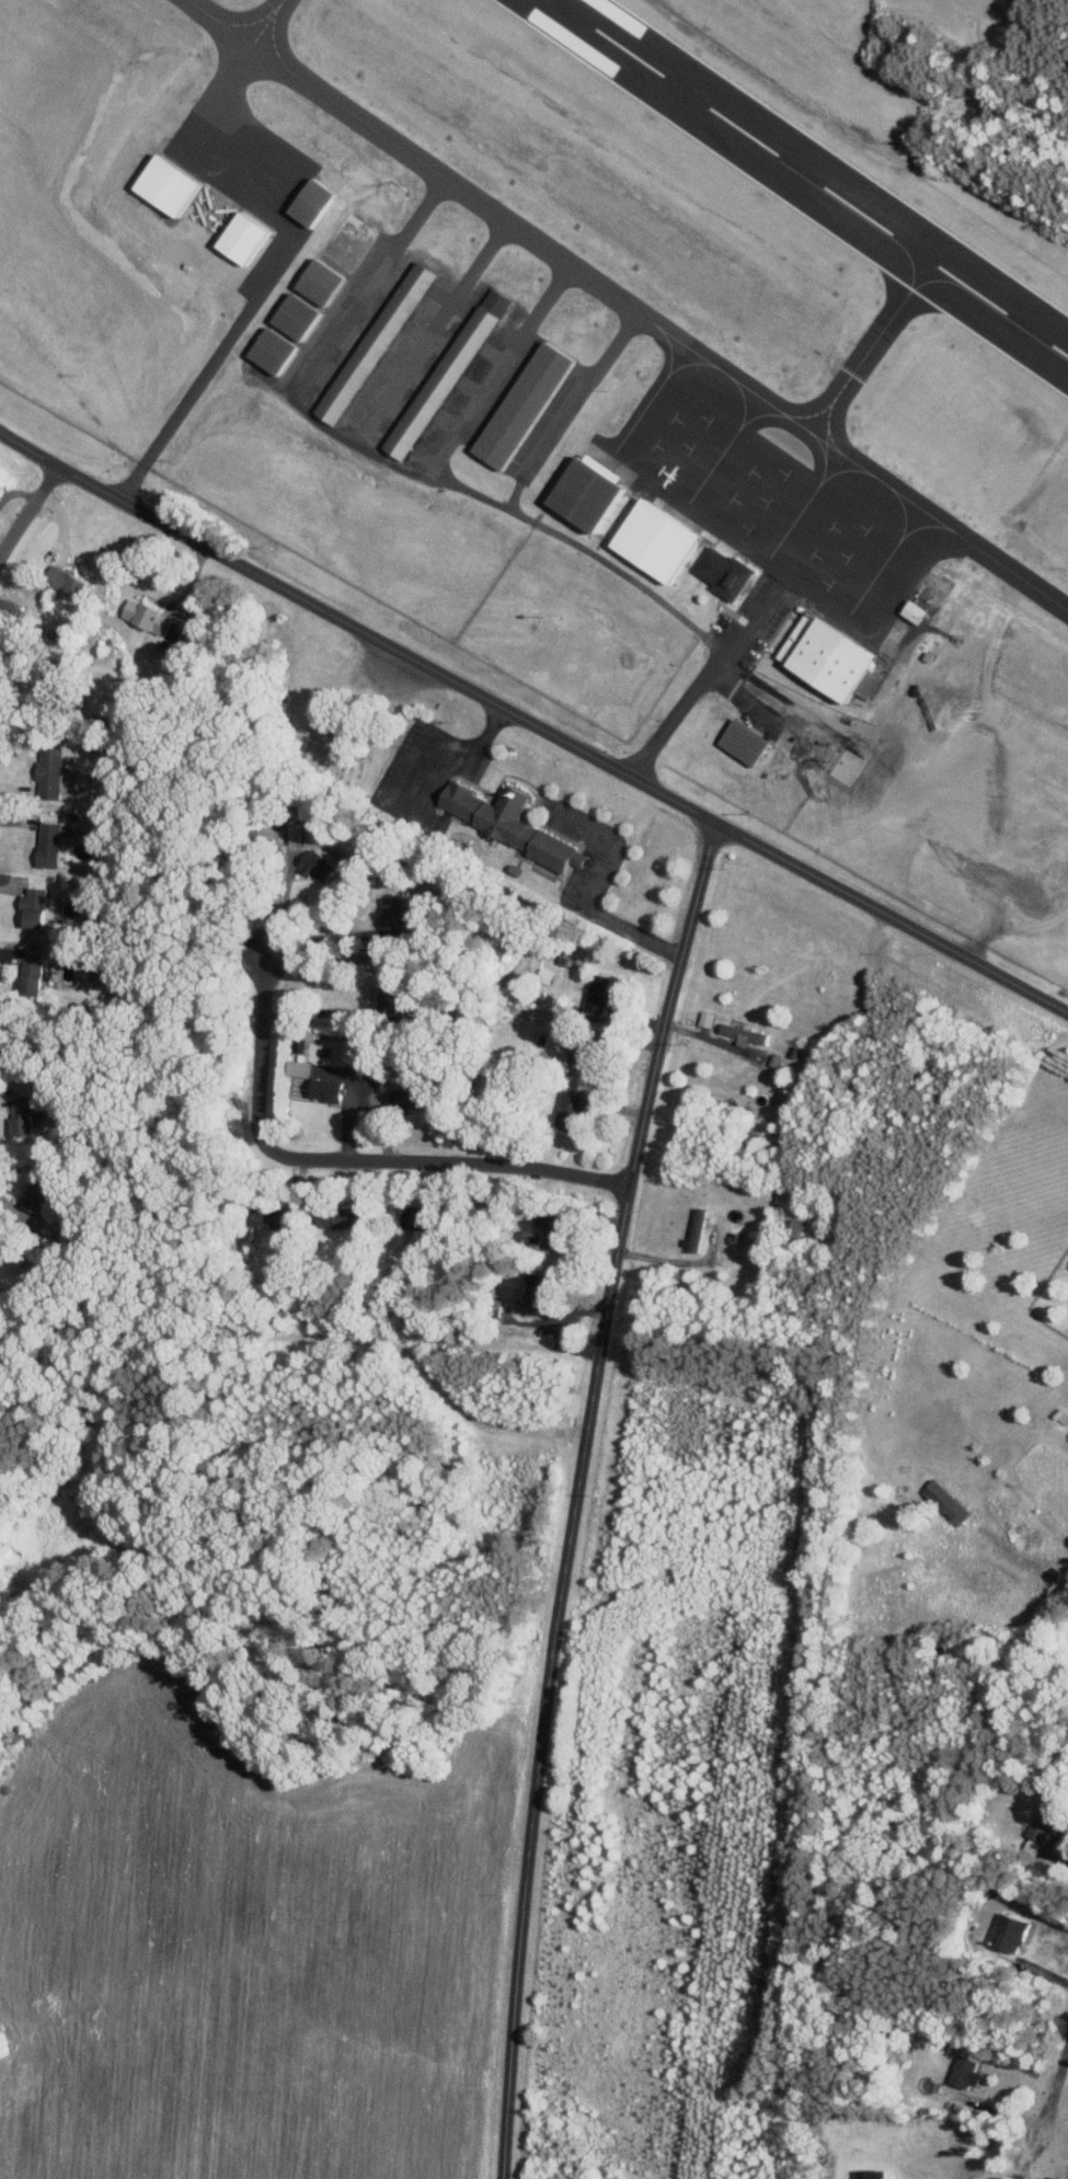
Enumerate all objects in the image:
airport taxiway: (241, 57)
airport taxiway: (287, 68)
airport taxiway: (433, 169)
airport runway: (812, 176)
building: (168, 182)
building: (311, 200)
building: (210, 209)
building: (242, 237)
building: (347, 241)
building: (320, 280)
road: (245, 303)
building: (298, 317)
airport taxiway: (872, 339)
building: (377, 342)
building: (272, 348)
building: (447, 372)
building: (522, 404)
airport apron: (780, 489)
building: (586, 493)
road: (28, 509)
building: (656, 539)
airport taxiway: (1013, 570)
building: (725, 572)
building: (68, 581)
building: (917, 611)
building: (154, 621)
building: (827, 654)
road: (698, 678)
road: (532, 723)
road: (438, 730)
building: (746, 742)
road: (461, 756)
building: (51, 771)
building: (512, 823)
building: (50, 844)
building: (317, 863)
road: (596, 886)
building: (35, 906)
road: (323, 939)
building: (33, 964)
road: (318, 1012)
building: (707, 1018)
building: (745, 1033)
building: (301, 1039)
building: (361, 1052)
building: (577, 1059)
building: (301, 1068)
building: (328, 1088)
building: (407, 1098)
building: (570, 1111)
building: (24, 1115)
road: (348, 1157)
building: (41, 1195)
road: (14, 1207)
building: (272, 1218)
building: (338, 1218)
building: (418, 1220)
building: (698, 1229)
building: (553, 1230)
road: (671, 1260)
building: (538, 1289)
road: (576, 1495)
building: (948, 1500)
building: (1044, 1822)
building: (1010, 1930)
building: (966, 2072)
road: (1053, 2092)

